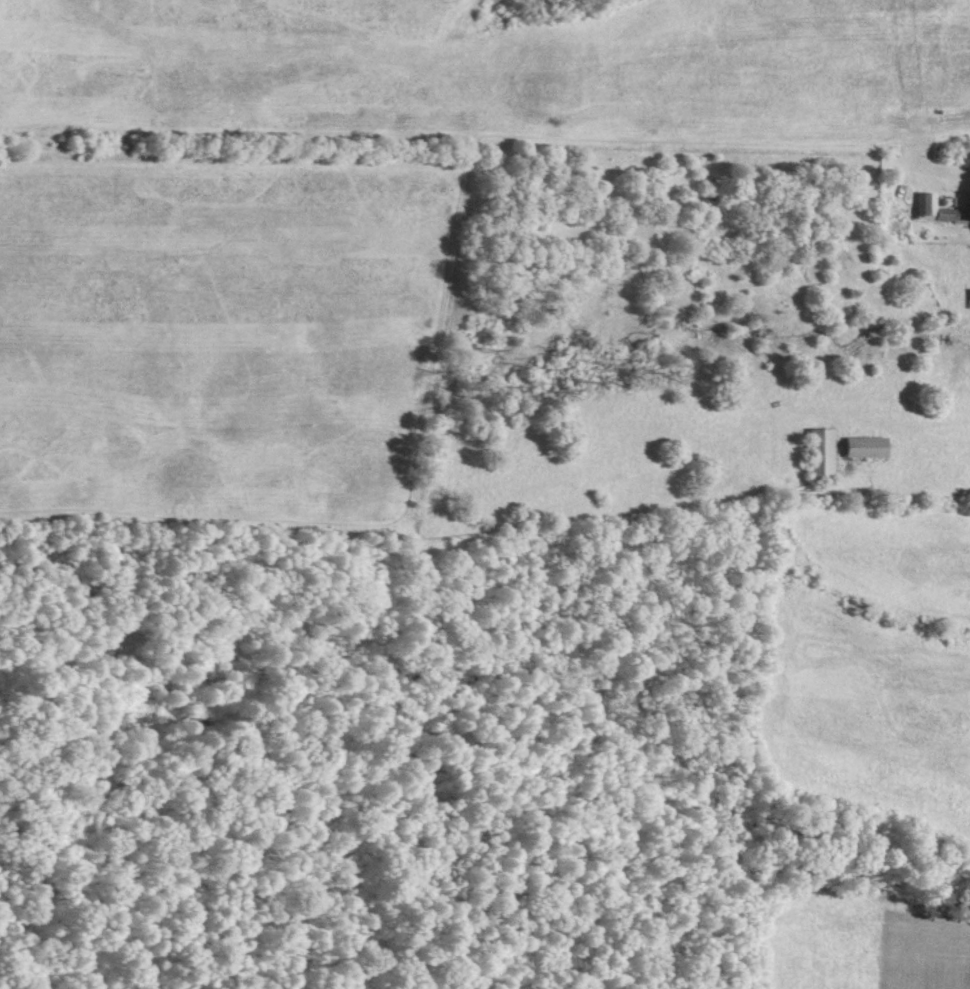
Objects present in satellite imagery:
building: (924, 206)
building: (967, 206)
building: (967, 297)
building: (862, 446)
building: (818, 452)

